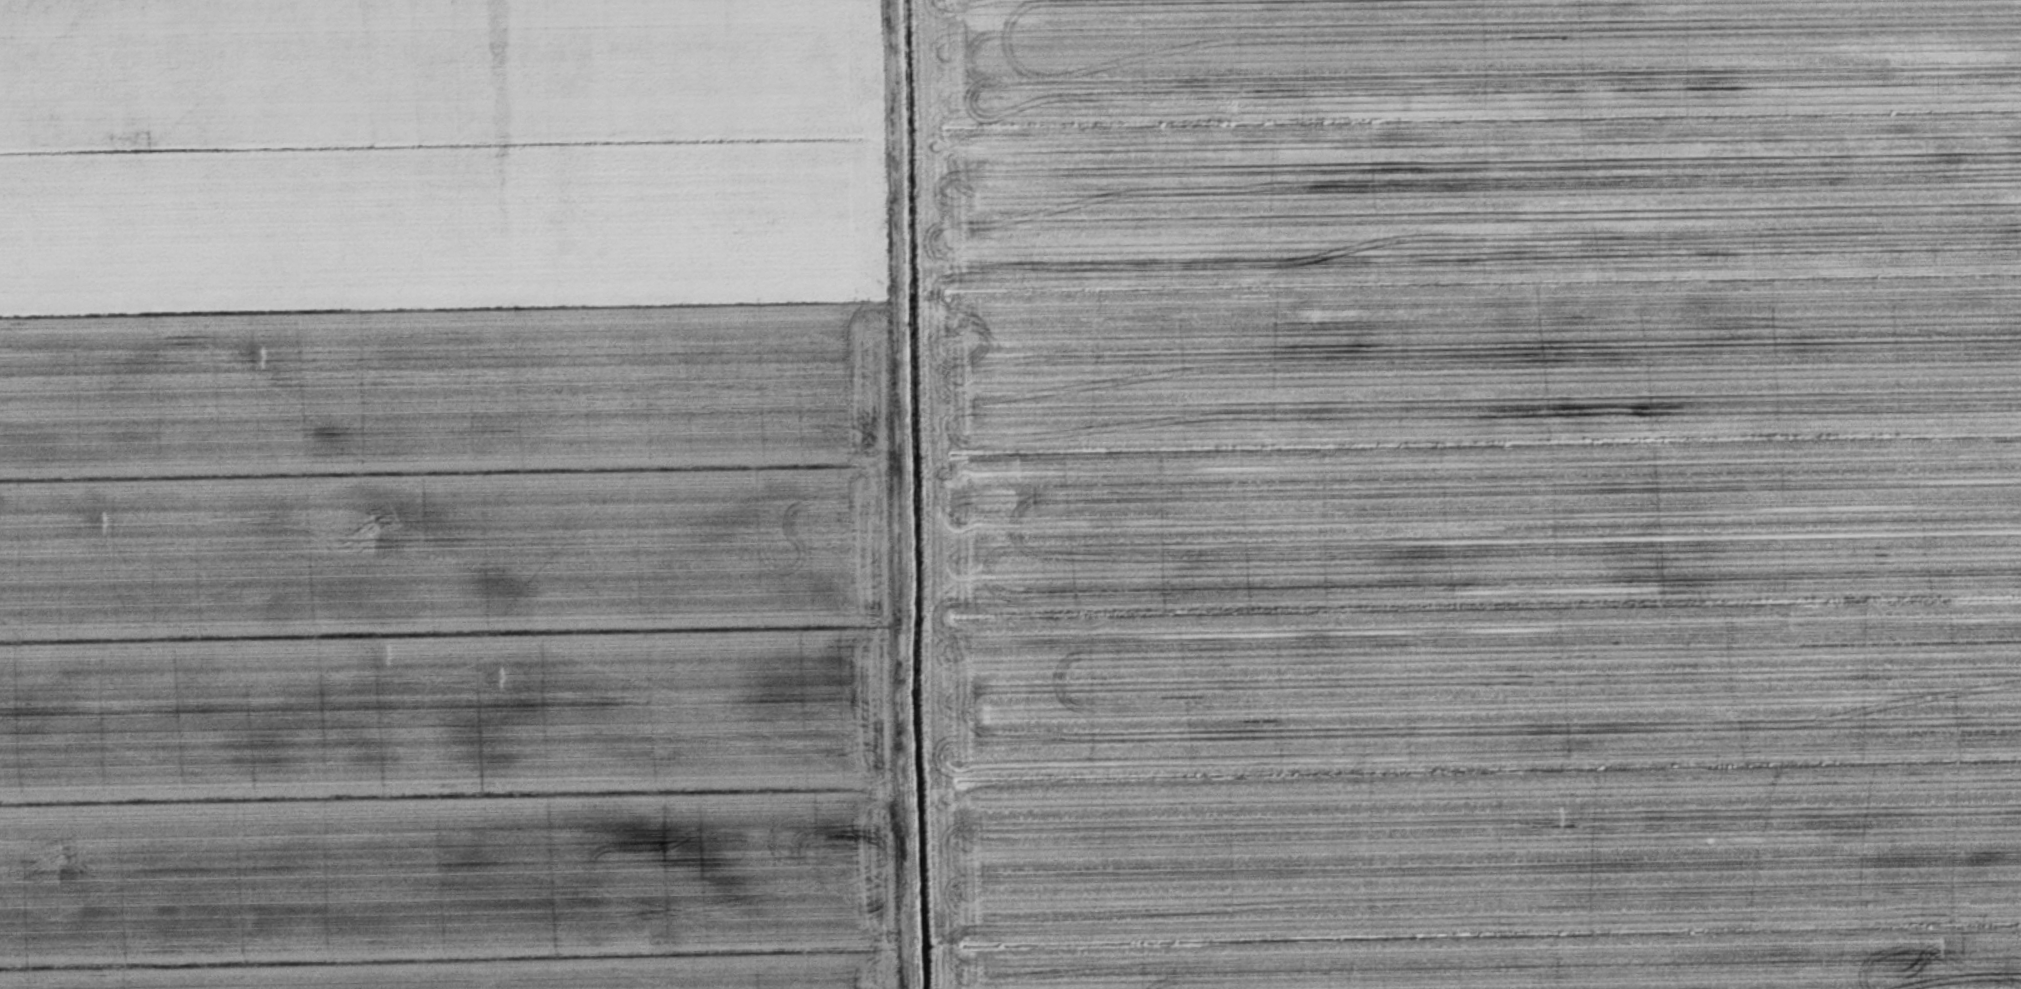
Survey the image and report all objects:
crop: (1473, 492)
road: (905, 494)
crop: (447, 496)

